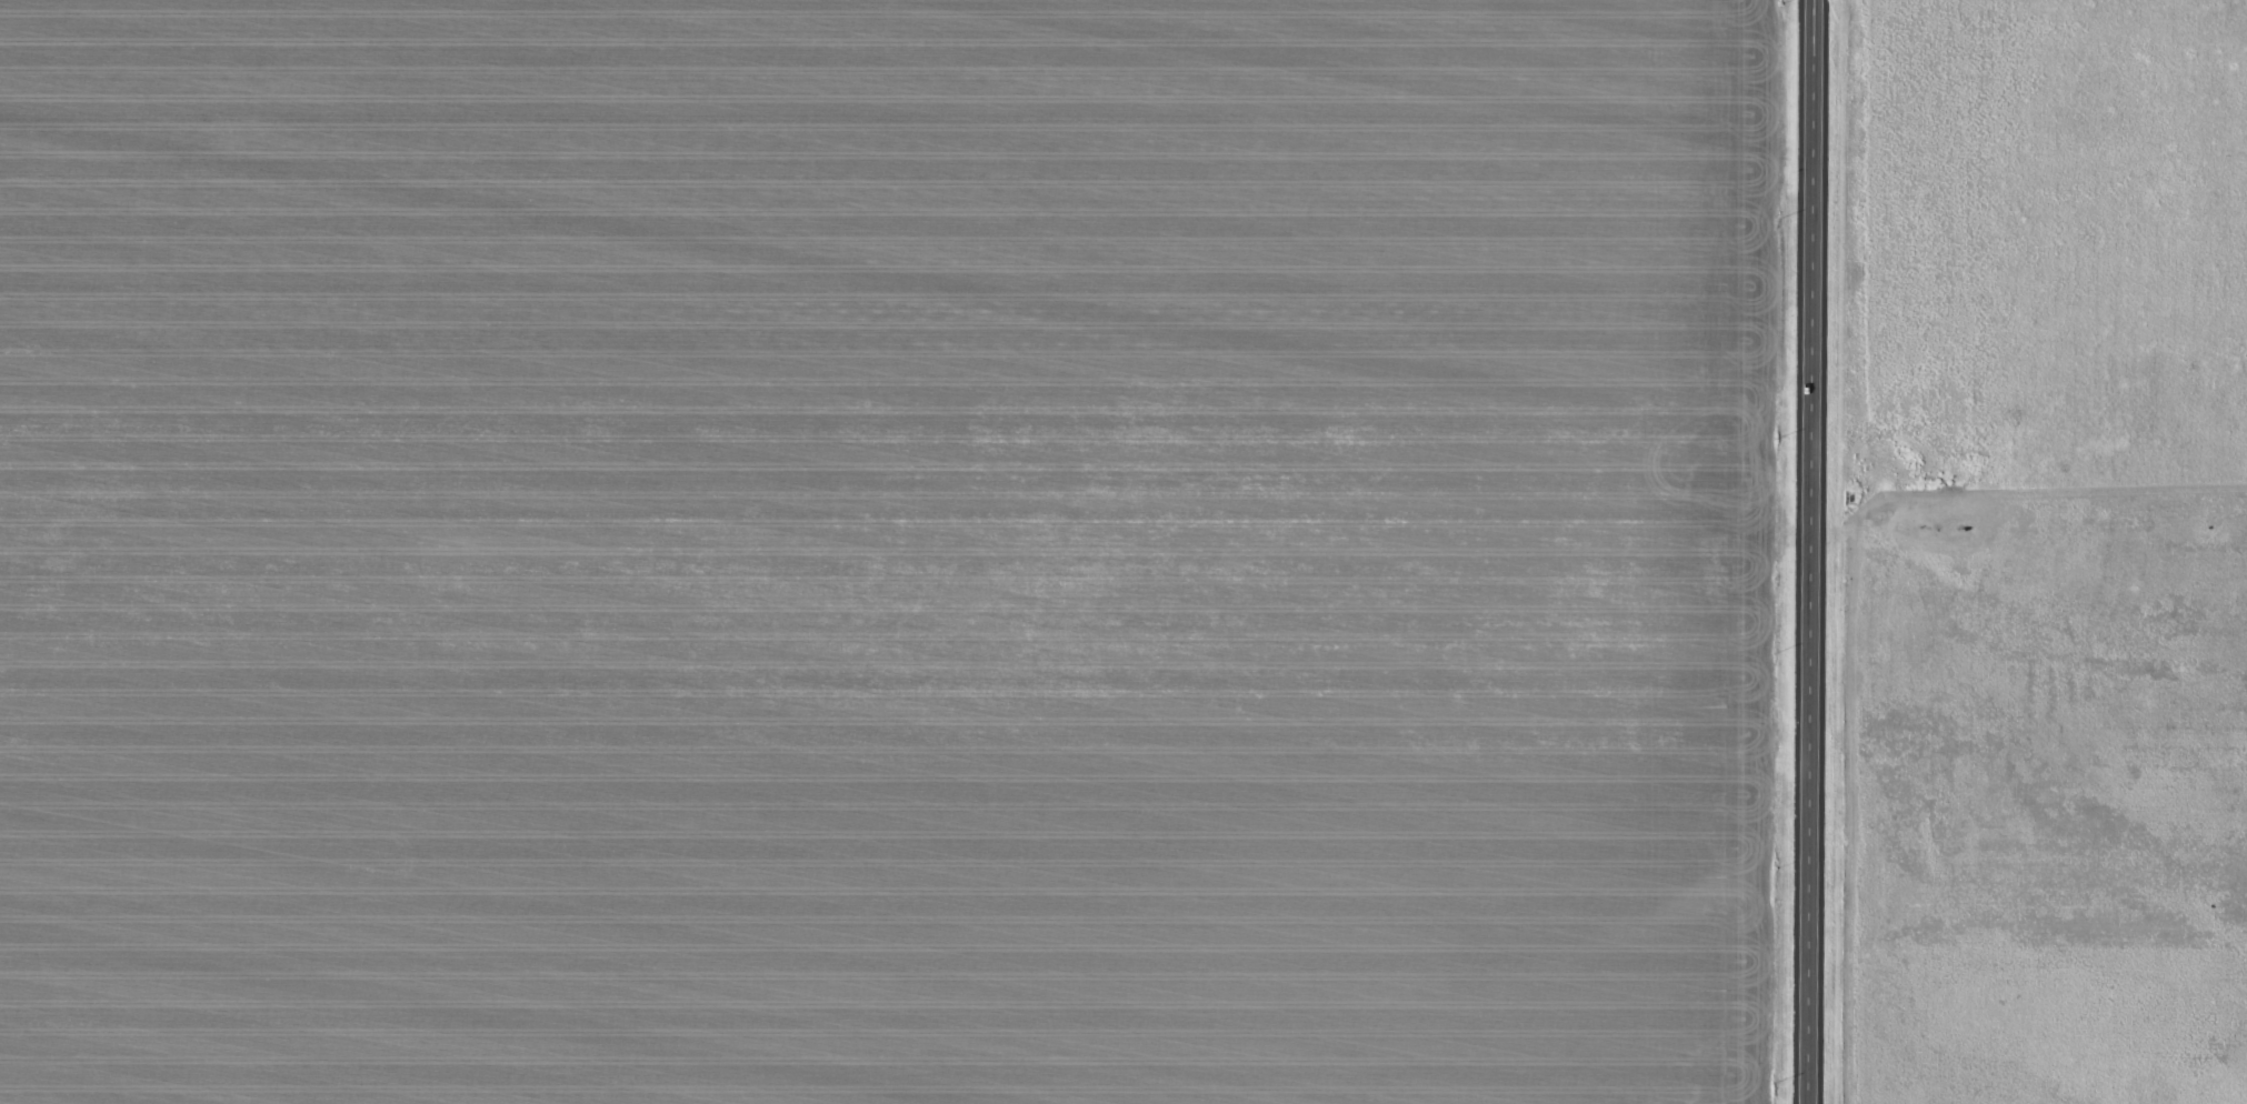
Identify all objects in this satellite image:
road: (1810, 552)

